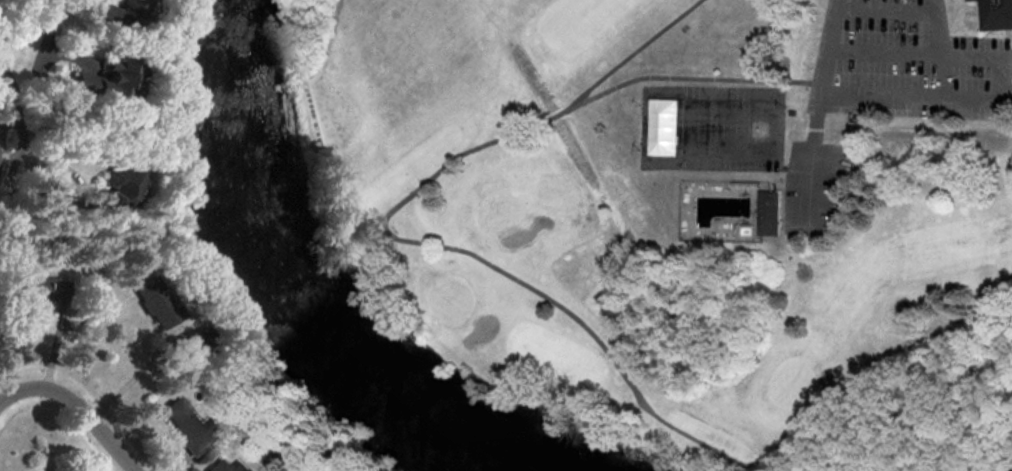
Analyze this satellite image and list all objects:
building: (996, 14)
building: (121, 16)
road: (52, 26)
parking lot: (900, 55)
building: (110, 83)
road: (16, 109)
park: (709, 126)
building: (662, 127)
building: (124, 190)
building: (768, 213)
park: (683, 214)
building: (43, 289)
building: (159, 303)
river: (312, 303)
road: (155, 354)
road: (6, 379)
road: (12, 392)
road: (87, 416)
building: (191, 426)
building: (227, 467)

